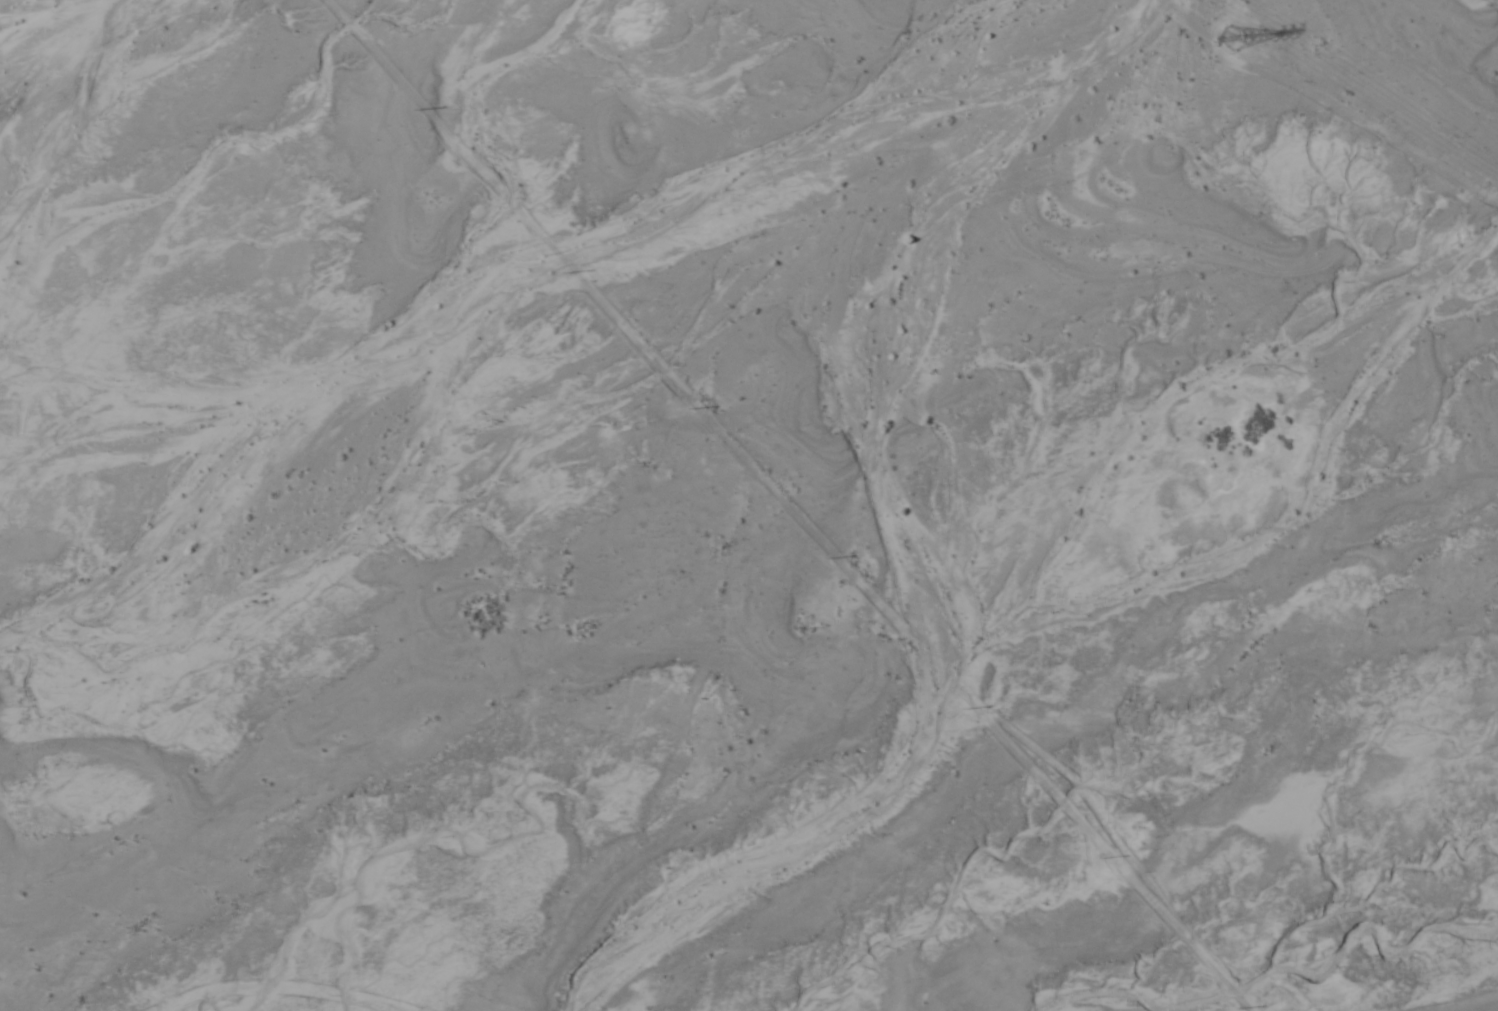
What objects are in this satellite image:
power tower: (1241, 36)

